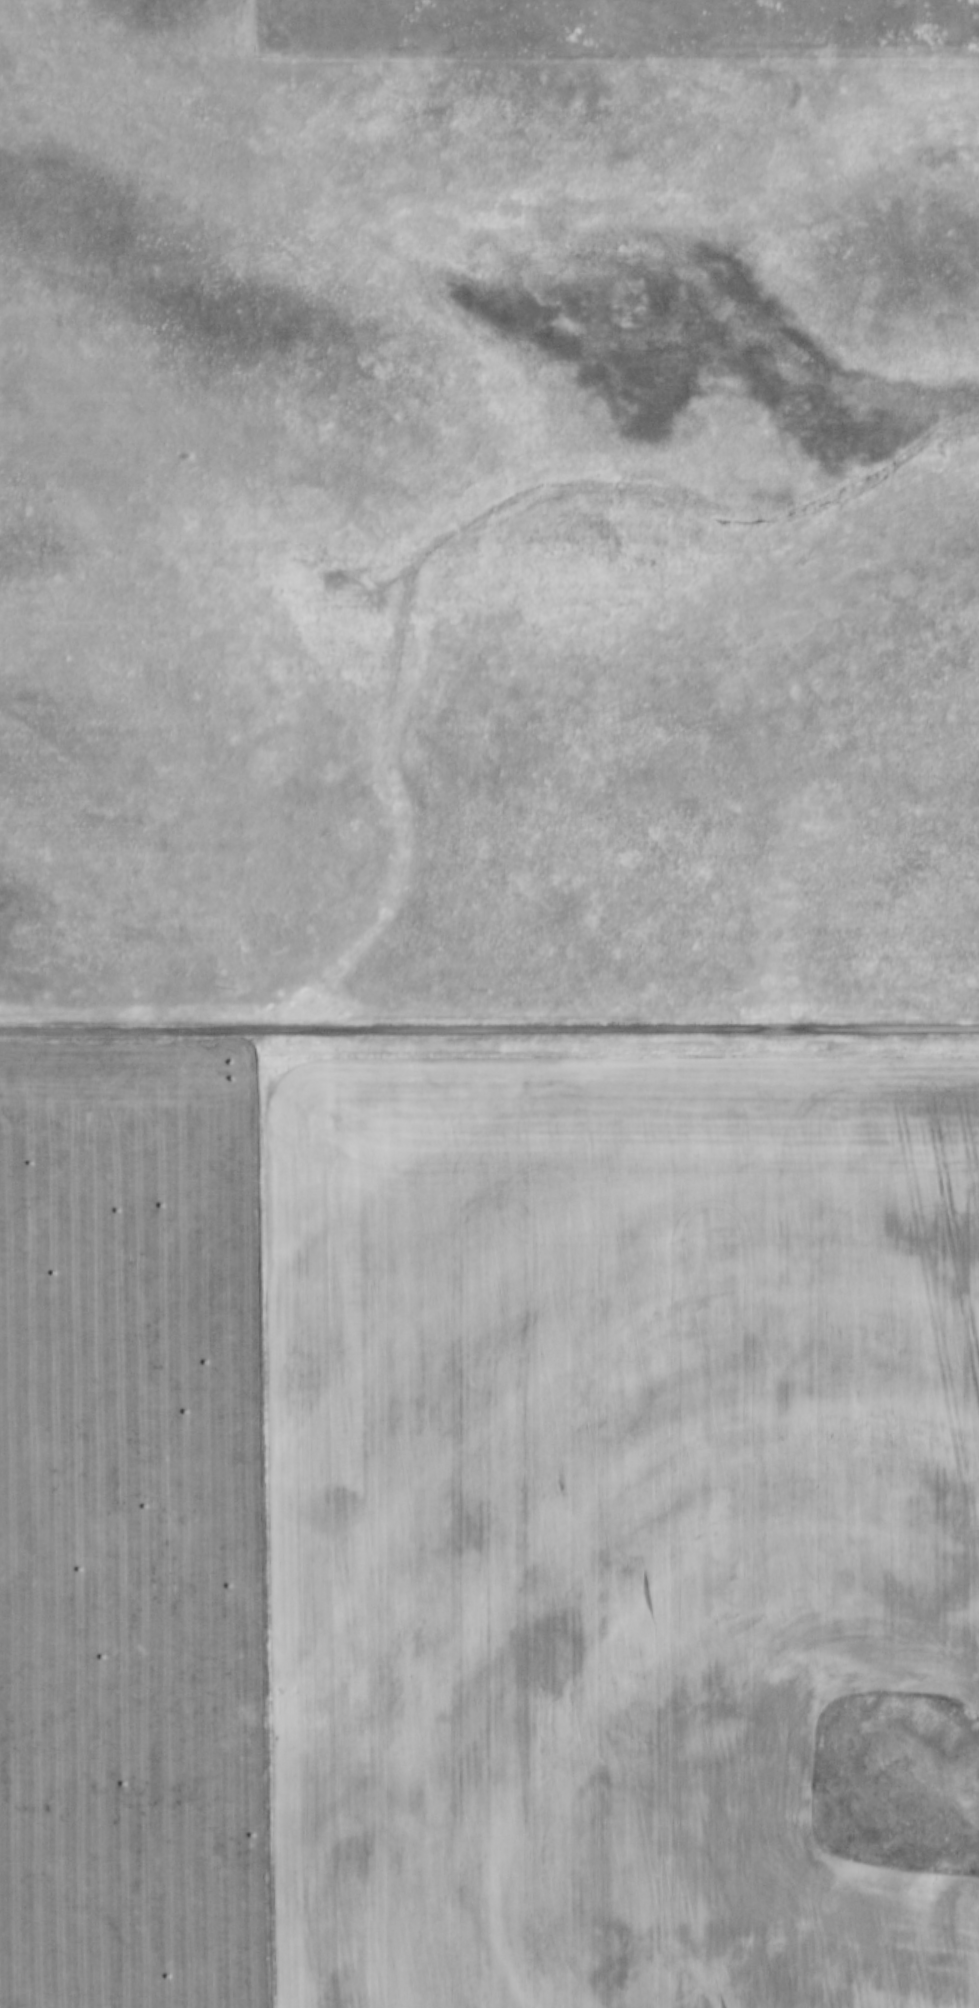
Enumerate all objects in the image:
road: (489, 1030)

